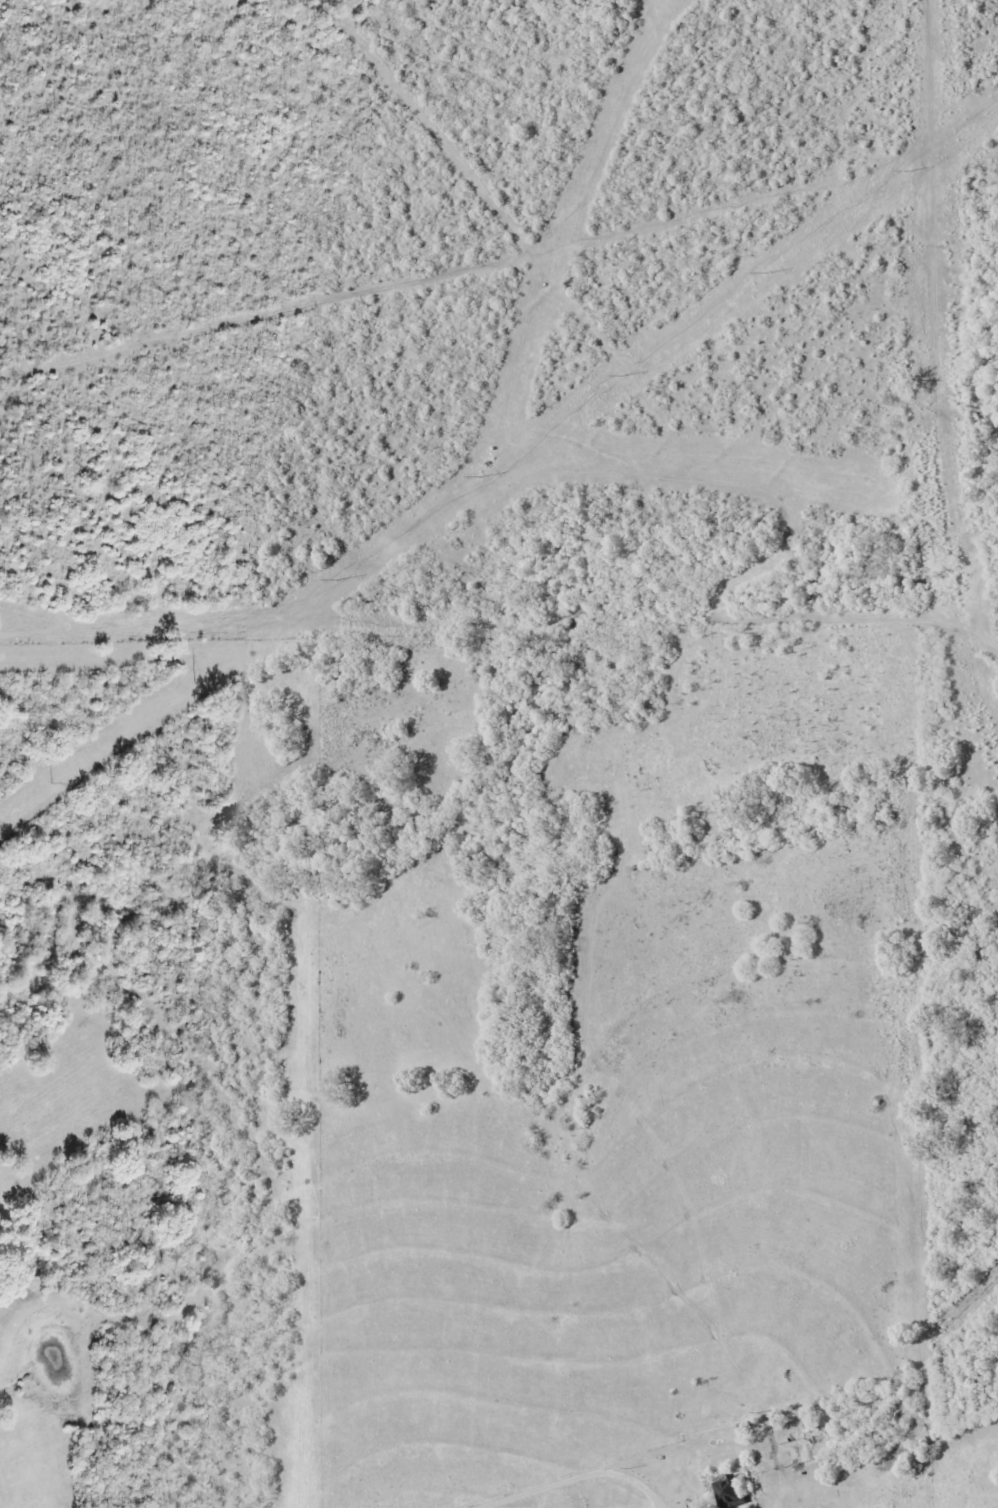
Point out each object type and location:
road: (806, 5)
road: (433, 54)

